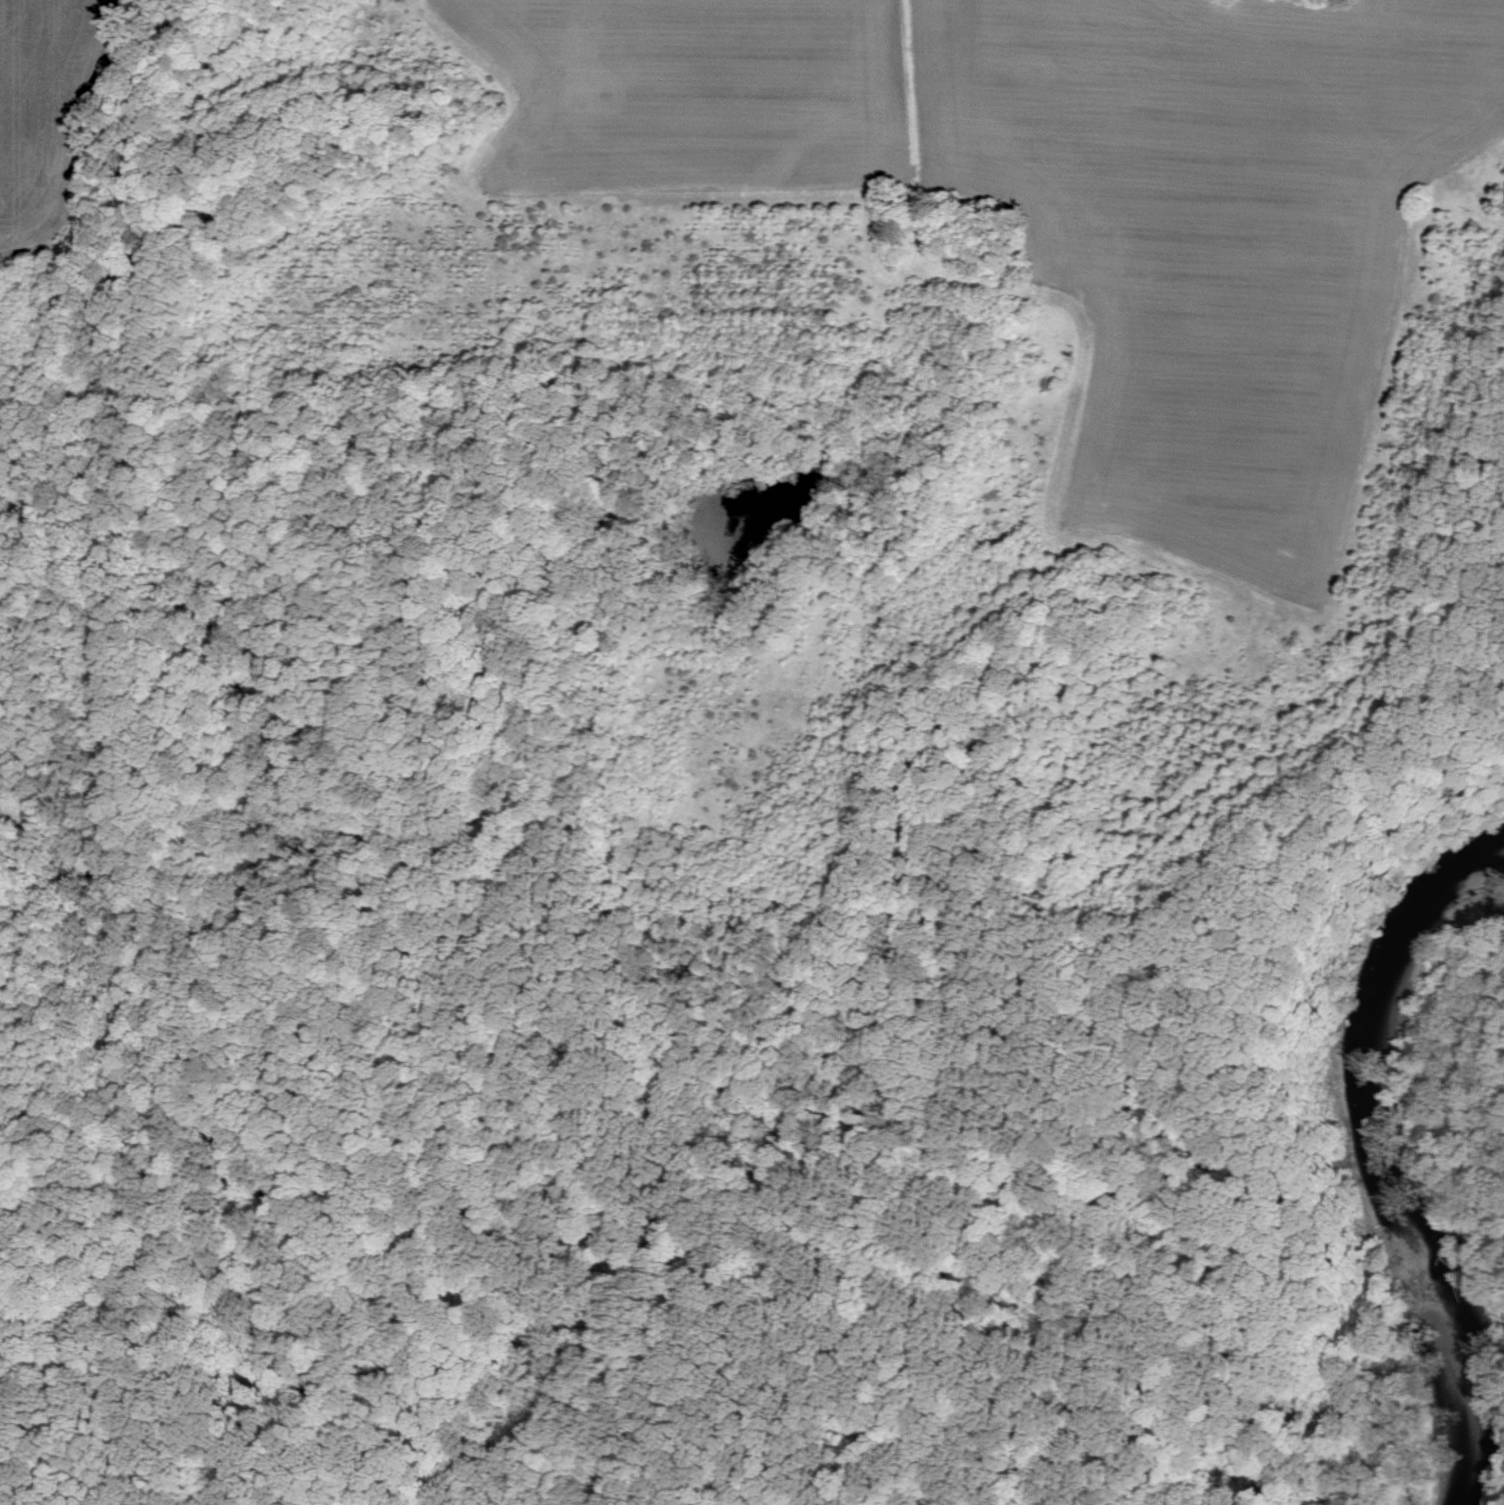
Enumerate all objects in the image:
river: (1375, 1167)

